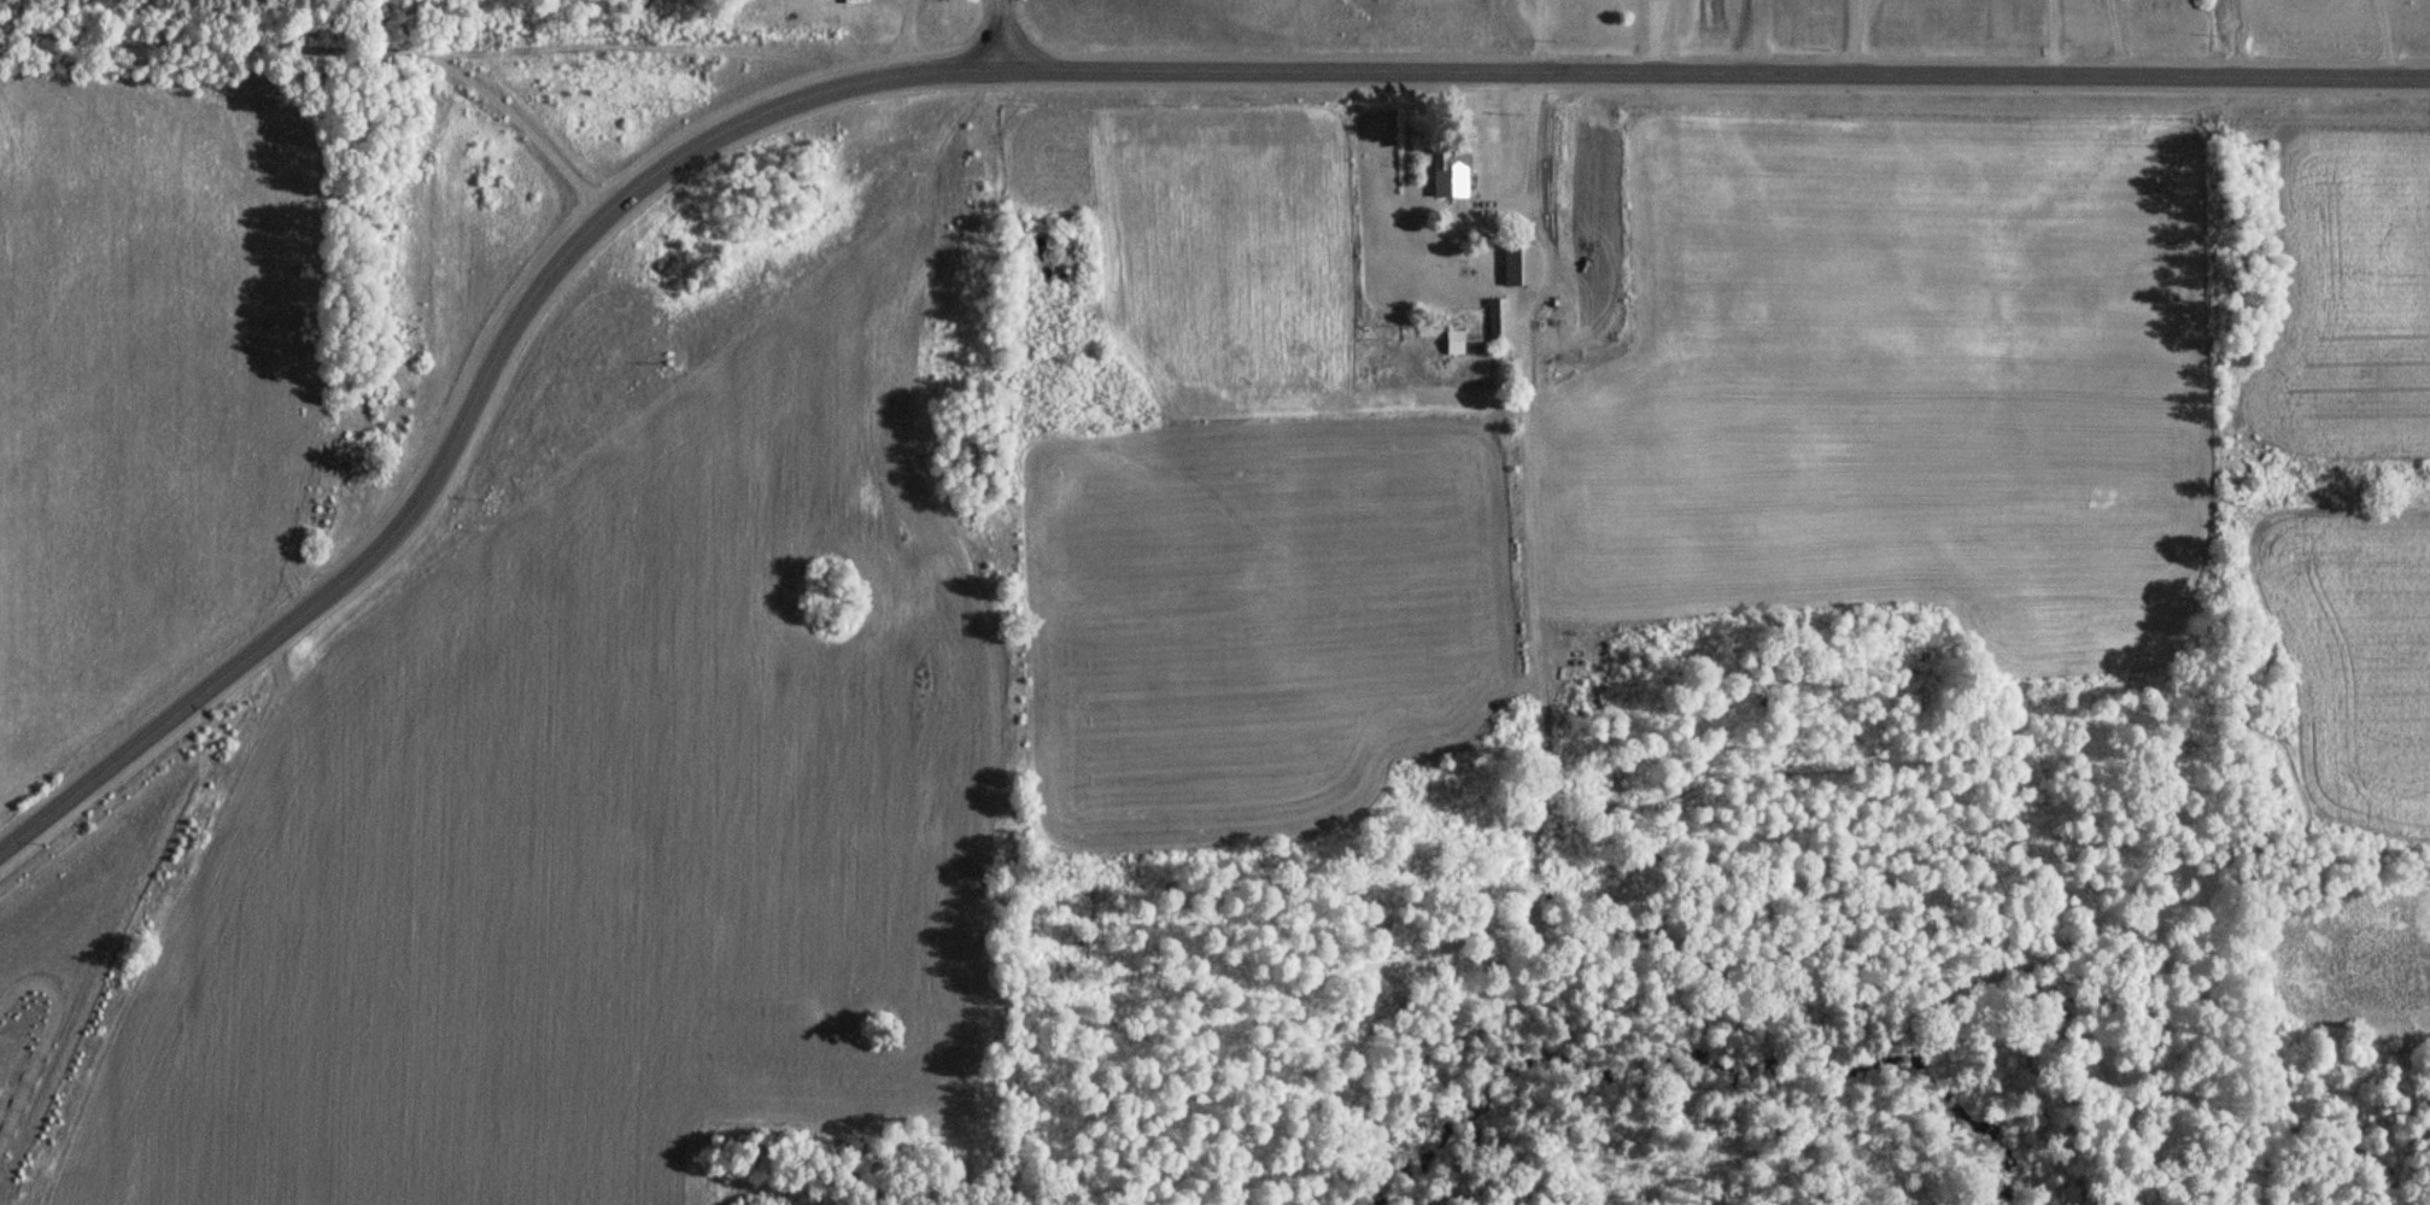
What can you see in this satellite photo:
road: (1000, 35)
road: (330, 53)
road: (1499, 71)
building: (1447, 172)
building: (1516, 264)
building: (1494, 318)
building: (1459, 343)
road: (347, 574)

